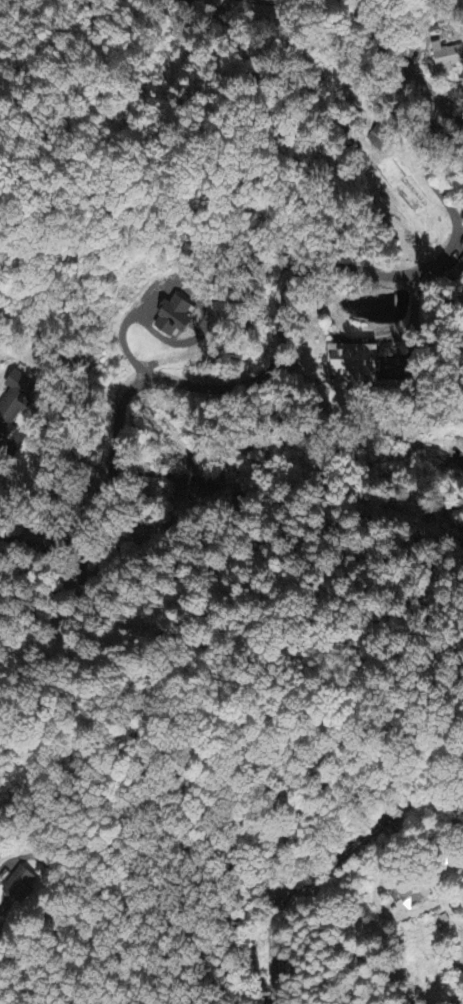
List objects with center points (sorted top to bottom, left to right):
building: (449, 59)
road: (401, 62)
building: (462, 262)
road: (415, 317)
road: (280, 356)
building: (22, 383)
building: (12, 414)
building: (232, 479)
road: (294, 889)
building: (410, 891)

